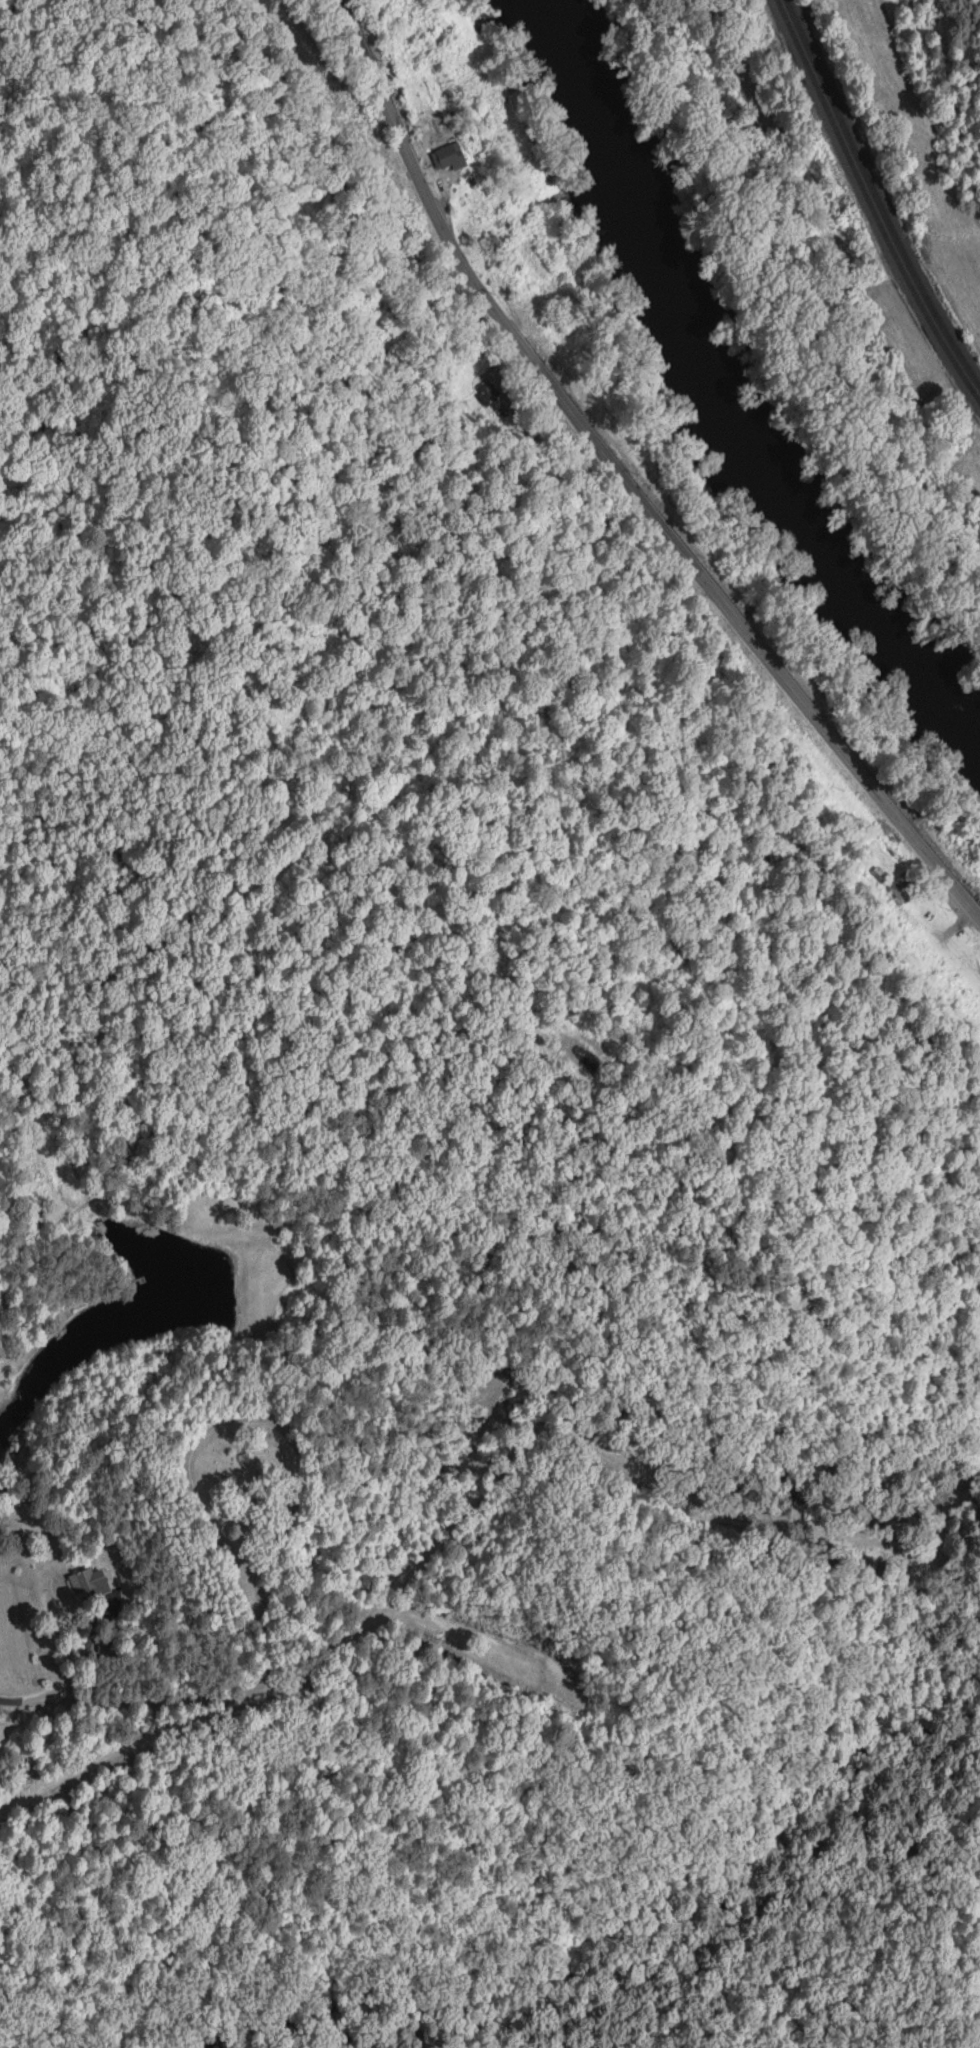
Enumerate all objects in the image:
road: (935, 144)
building: (446, 157)
railway: (868, 201)
building: (489, 251)
river: (709, 396)
road: (625, 481)
building: (903, 887)
road: (66, 1305)
building: (88, 1583)

